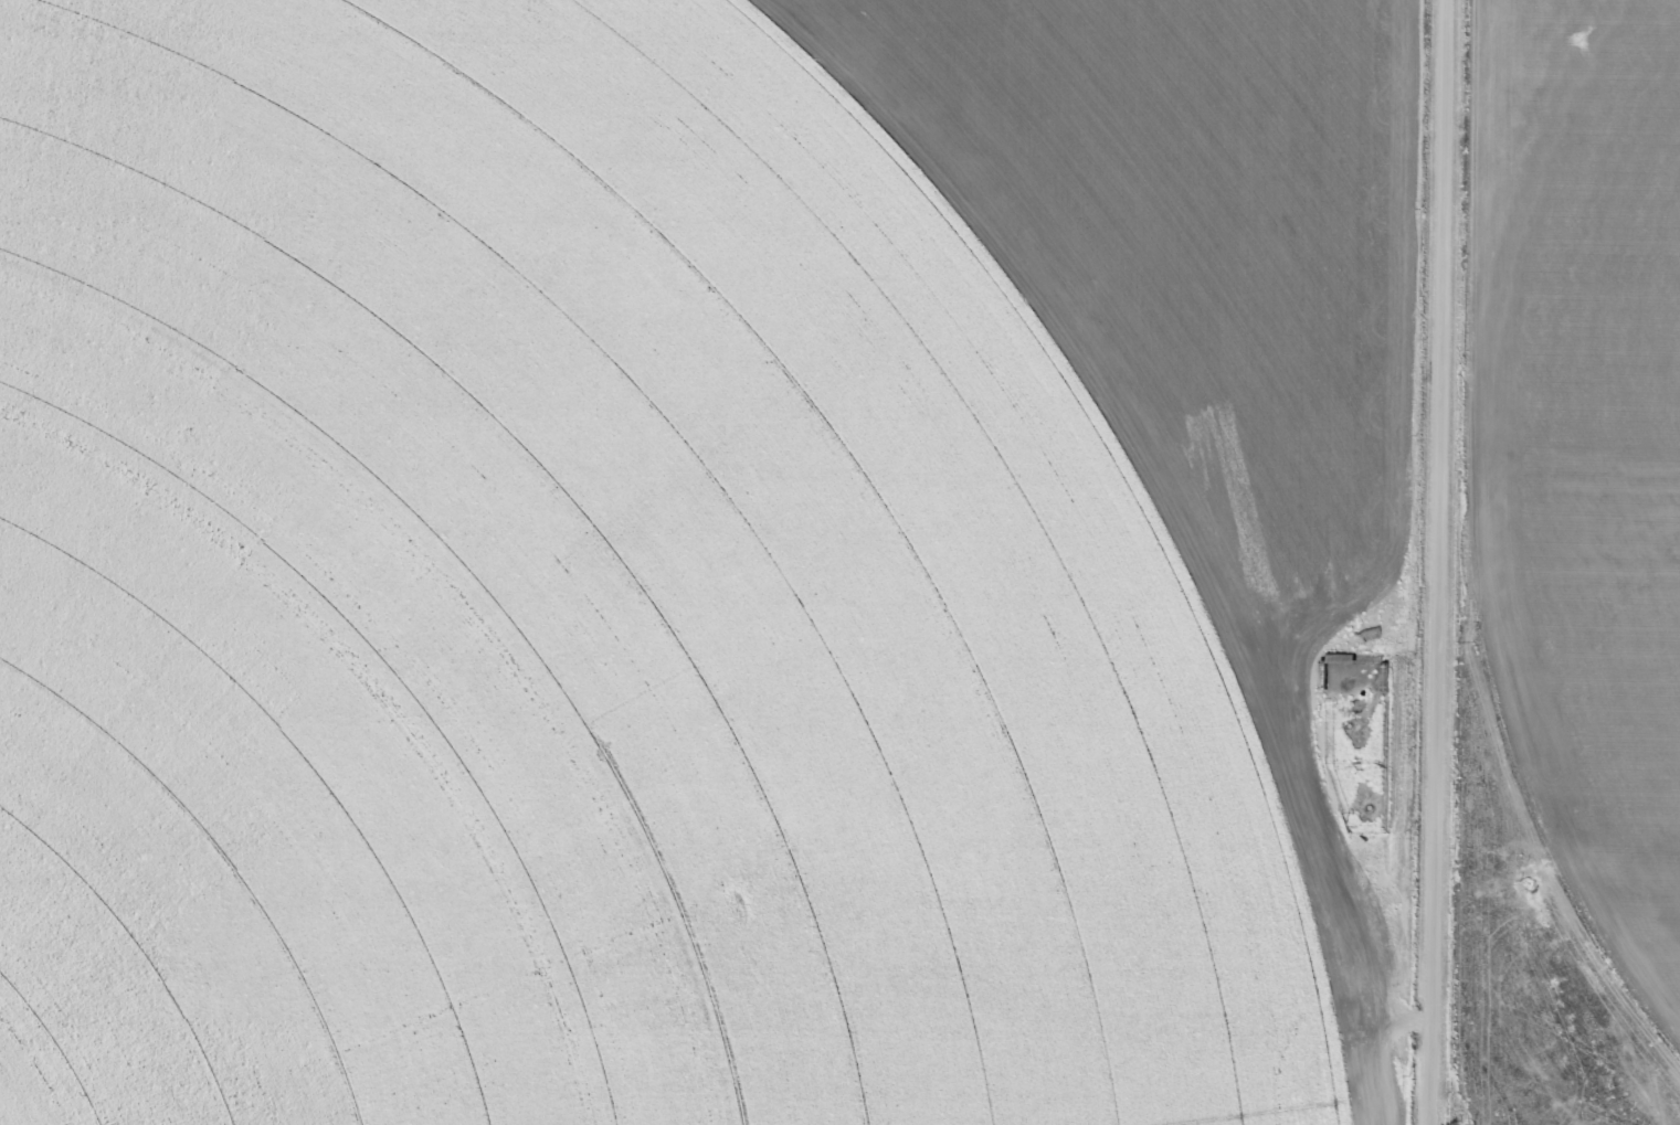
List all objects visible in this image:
road: (1437, 562)
crop: (1591, 576)

